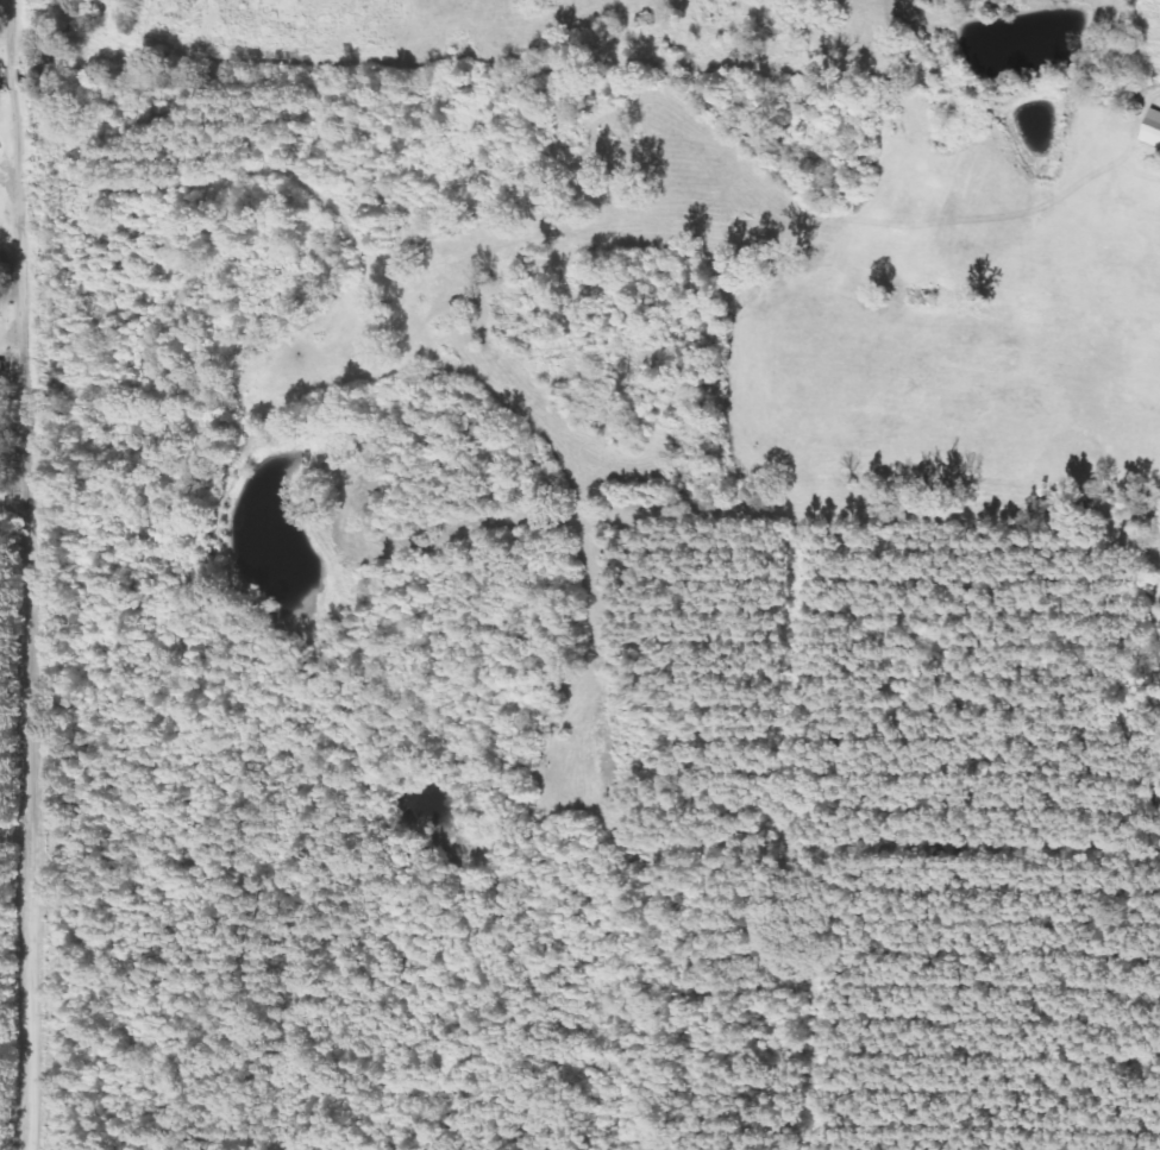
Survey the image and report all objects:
building: (1153, 130)
road: (13, 574)

